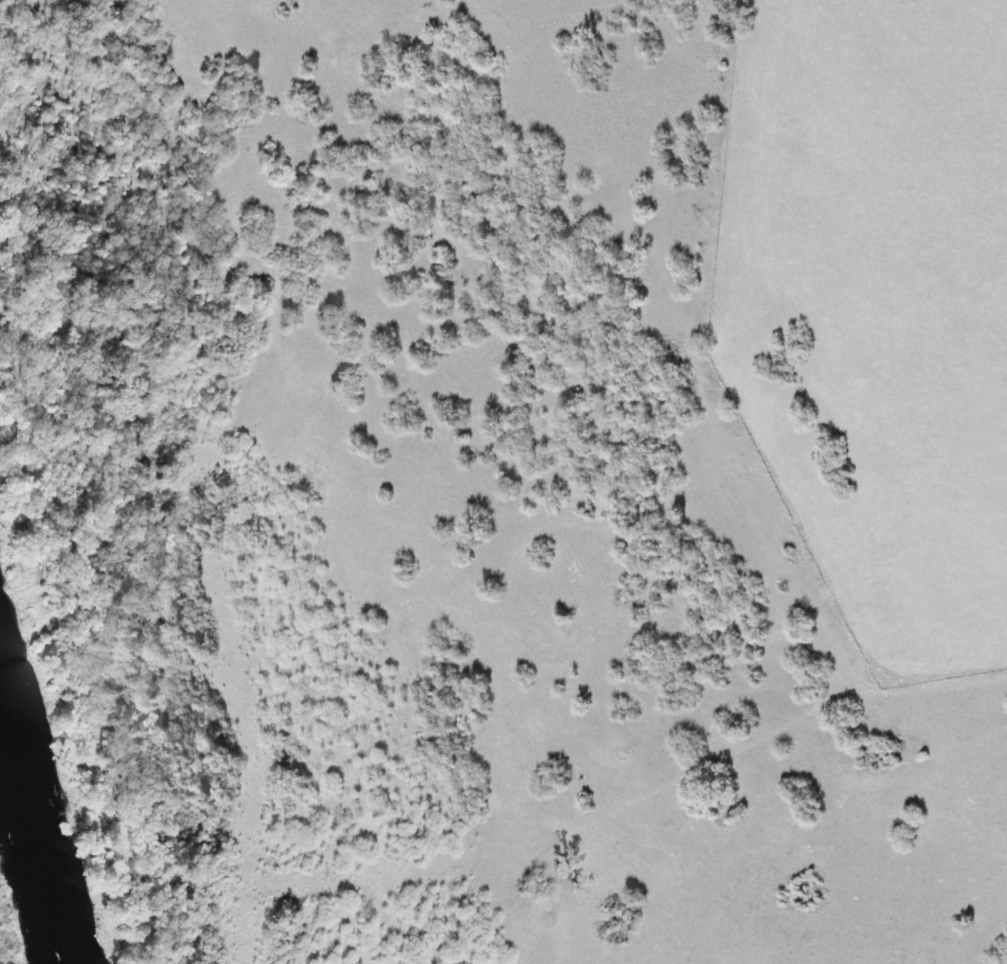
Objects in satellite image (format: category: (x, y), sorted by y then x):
river: (36, 822)

